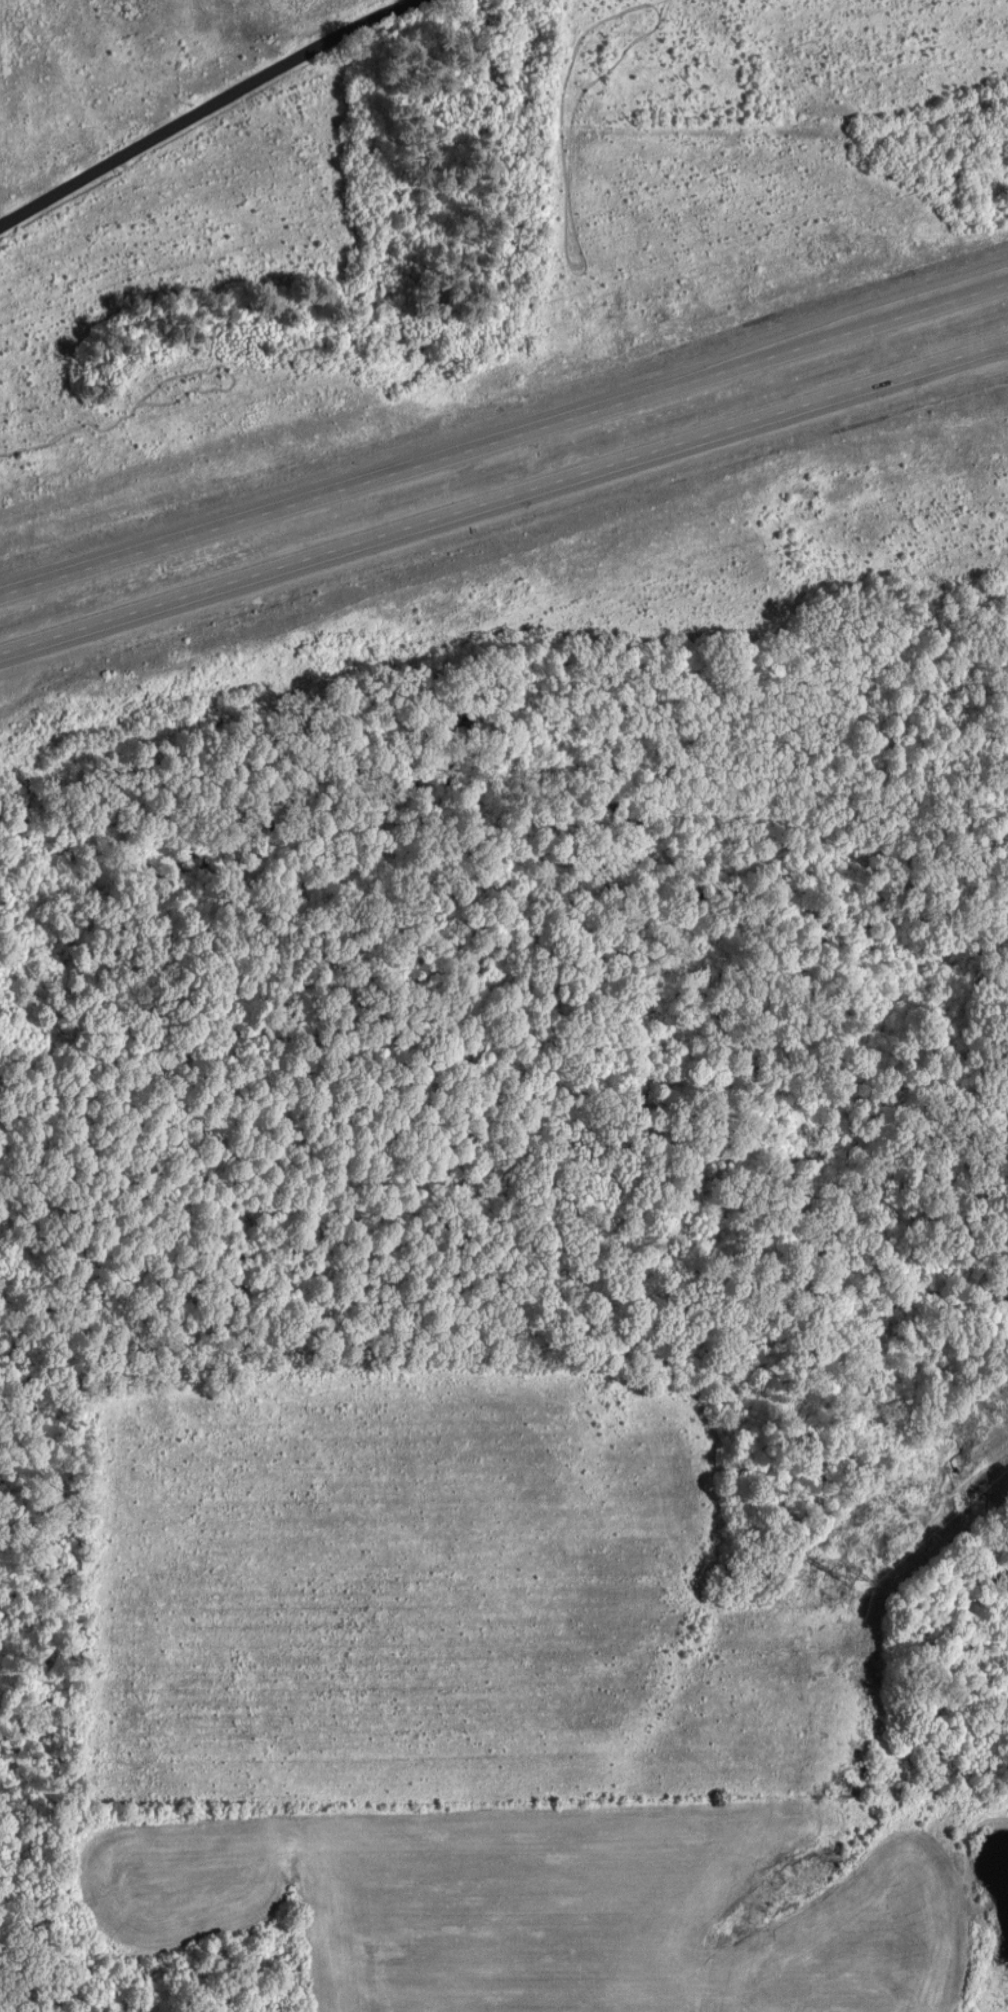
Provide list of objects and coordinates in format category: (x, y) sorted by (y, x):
road: (210, 108)
road: (1006, 350)
road: (504, 433)
road: (503, 505)
power tower: (847, 1572)

